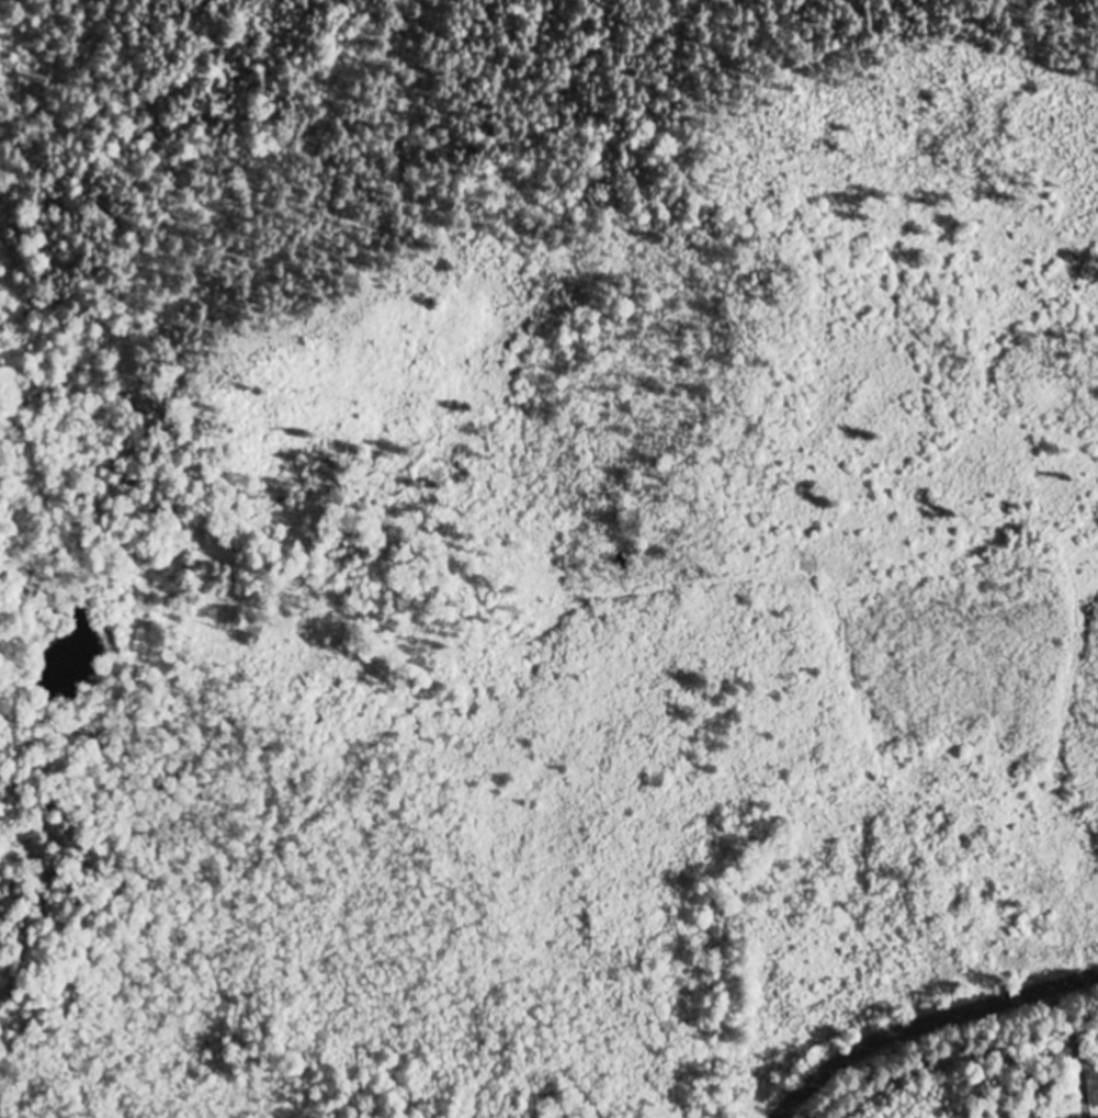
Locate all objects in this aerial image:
road: (926, 1028)
road: (991, 1063)

